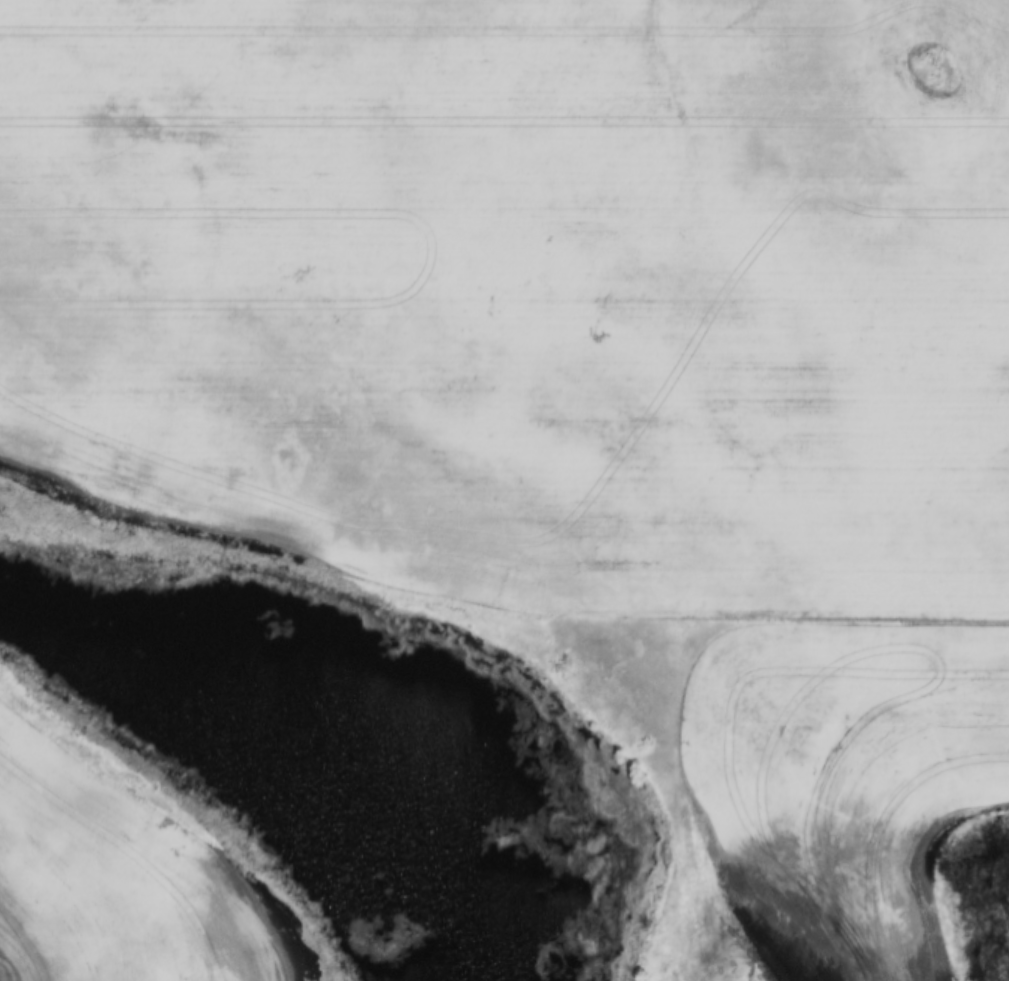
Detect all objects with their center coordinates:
crop: (524, 279)

